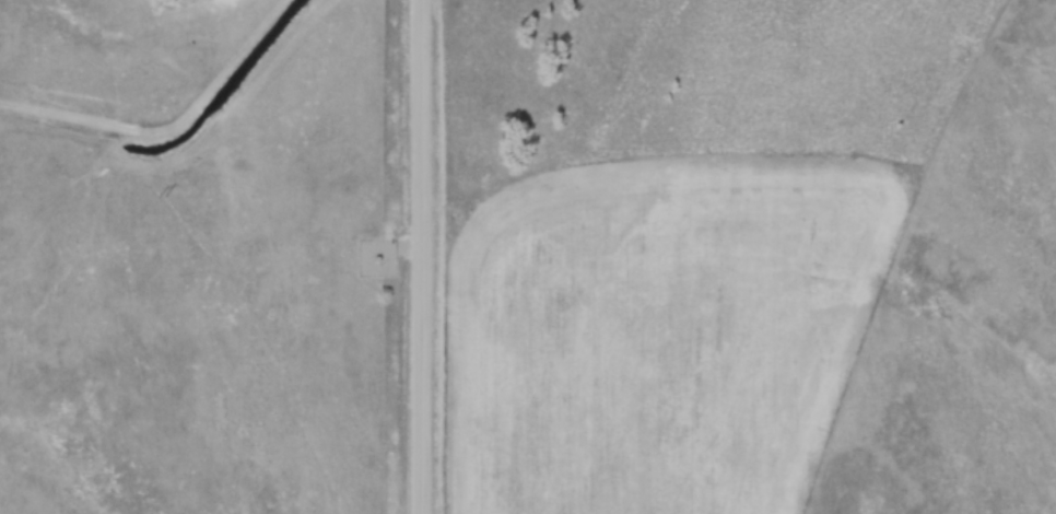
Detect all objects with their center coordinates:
power tower: (162, 195)
road: (421, 256)

